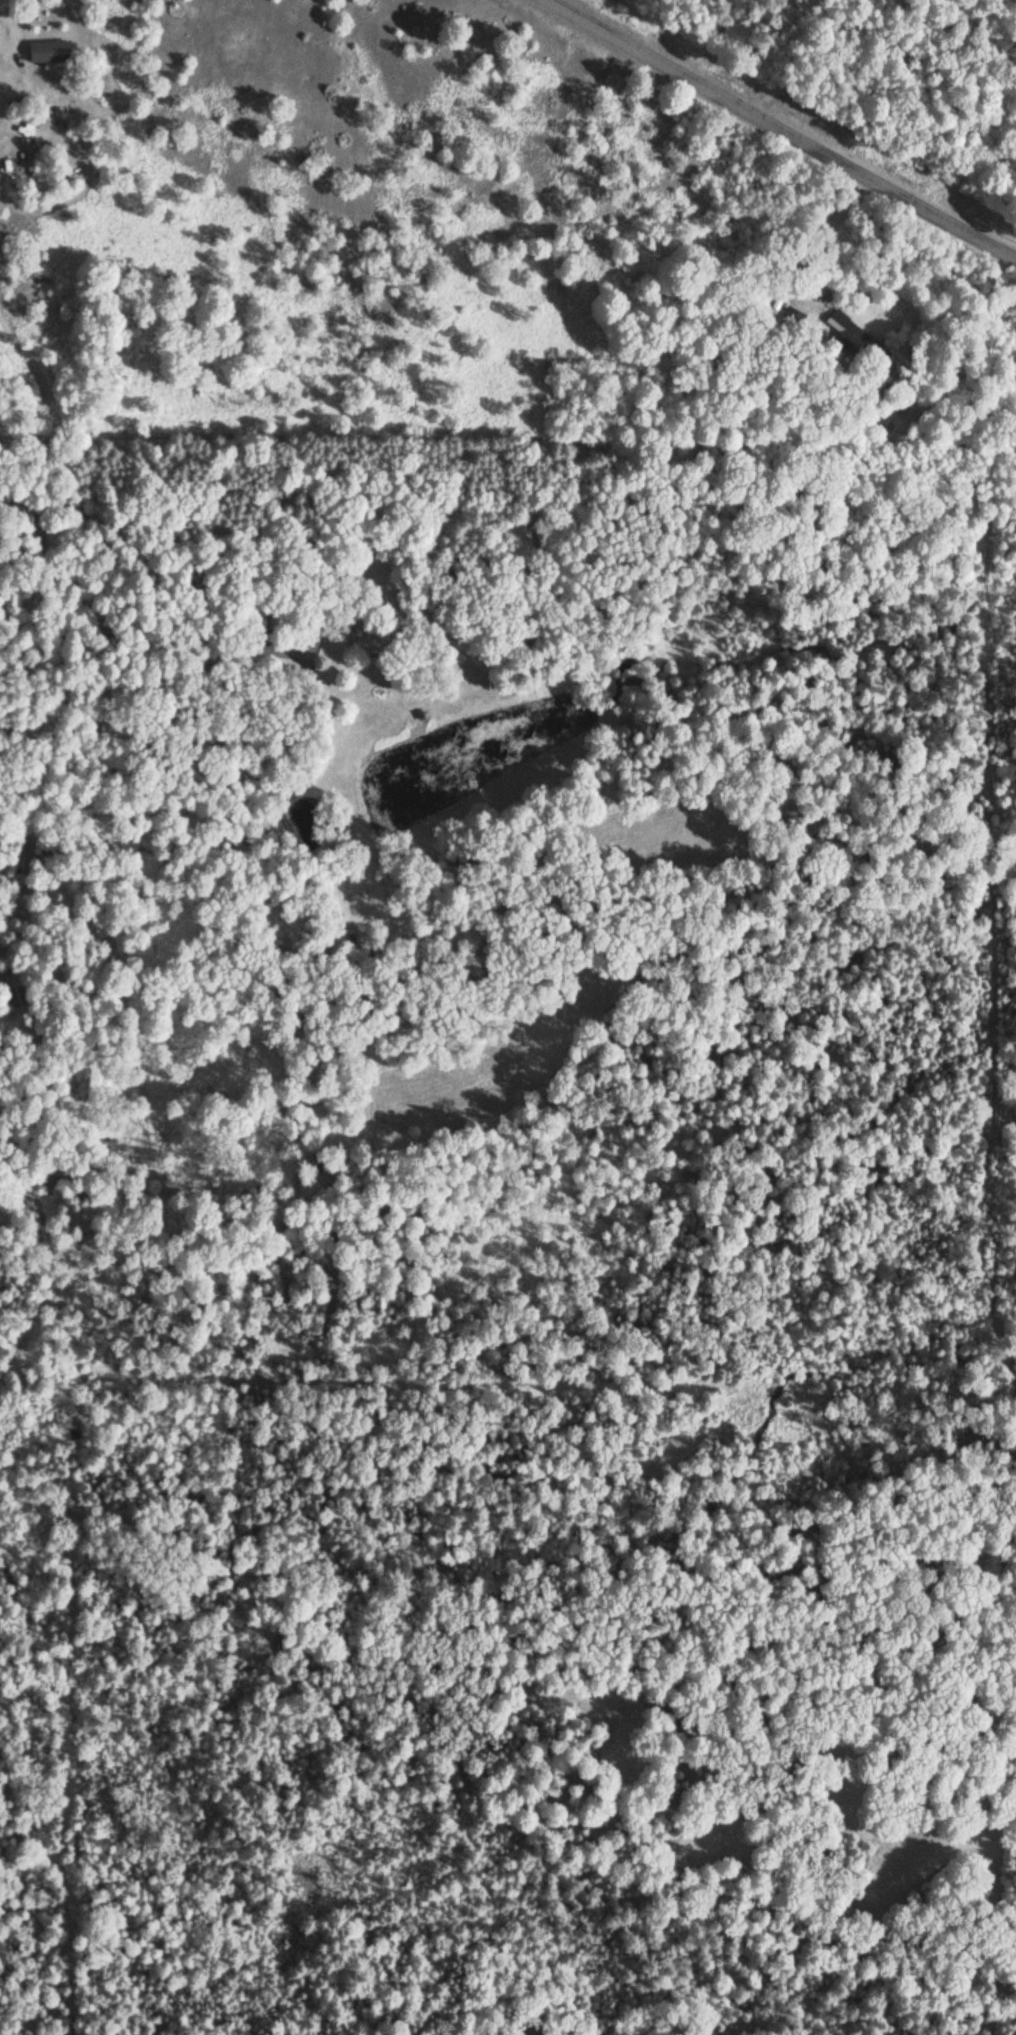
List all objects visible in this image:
building: (53, 52)
road: (785, 126)
building: (793, 318)
building: (846, 327)
road: (152, 588)
building: (258, 615)
building: (368, 625)
road: (54, 733)
building: (17, 991)

